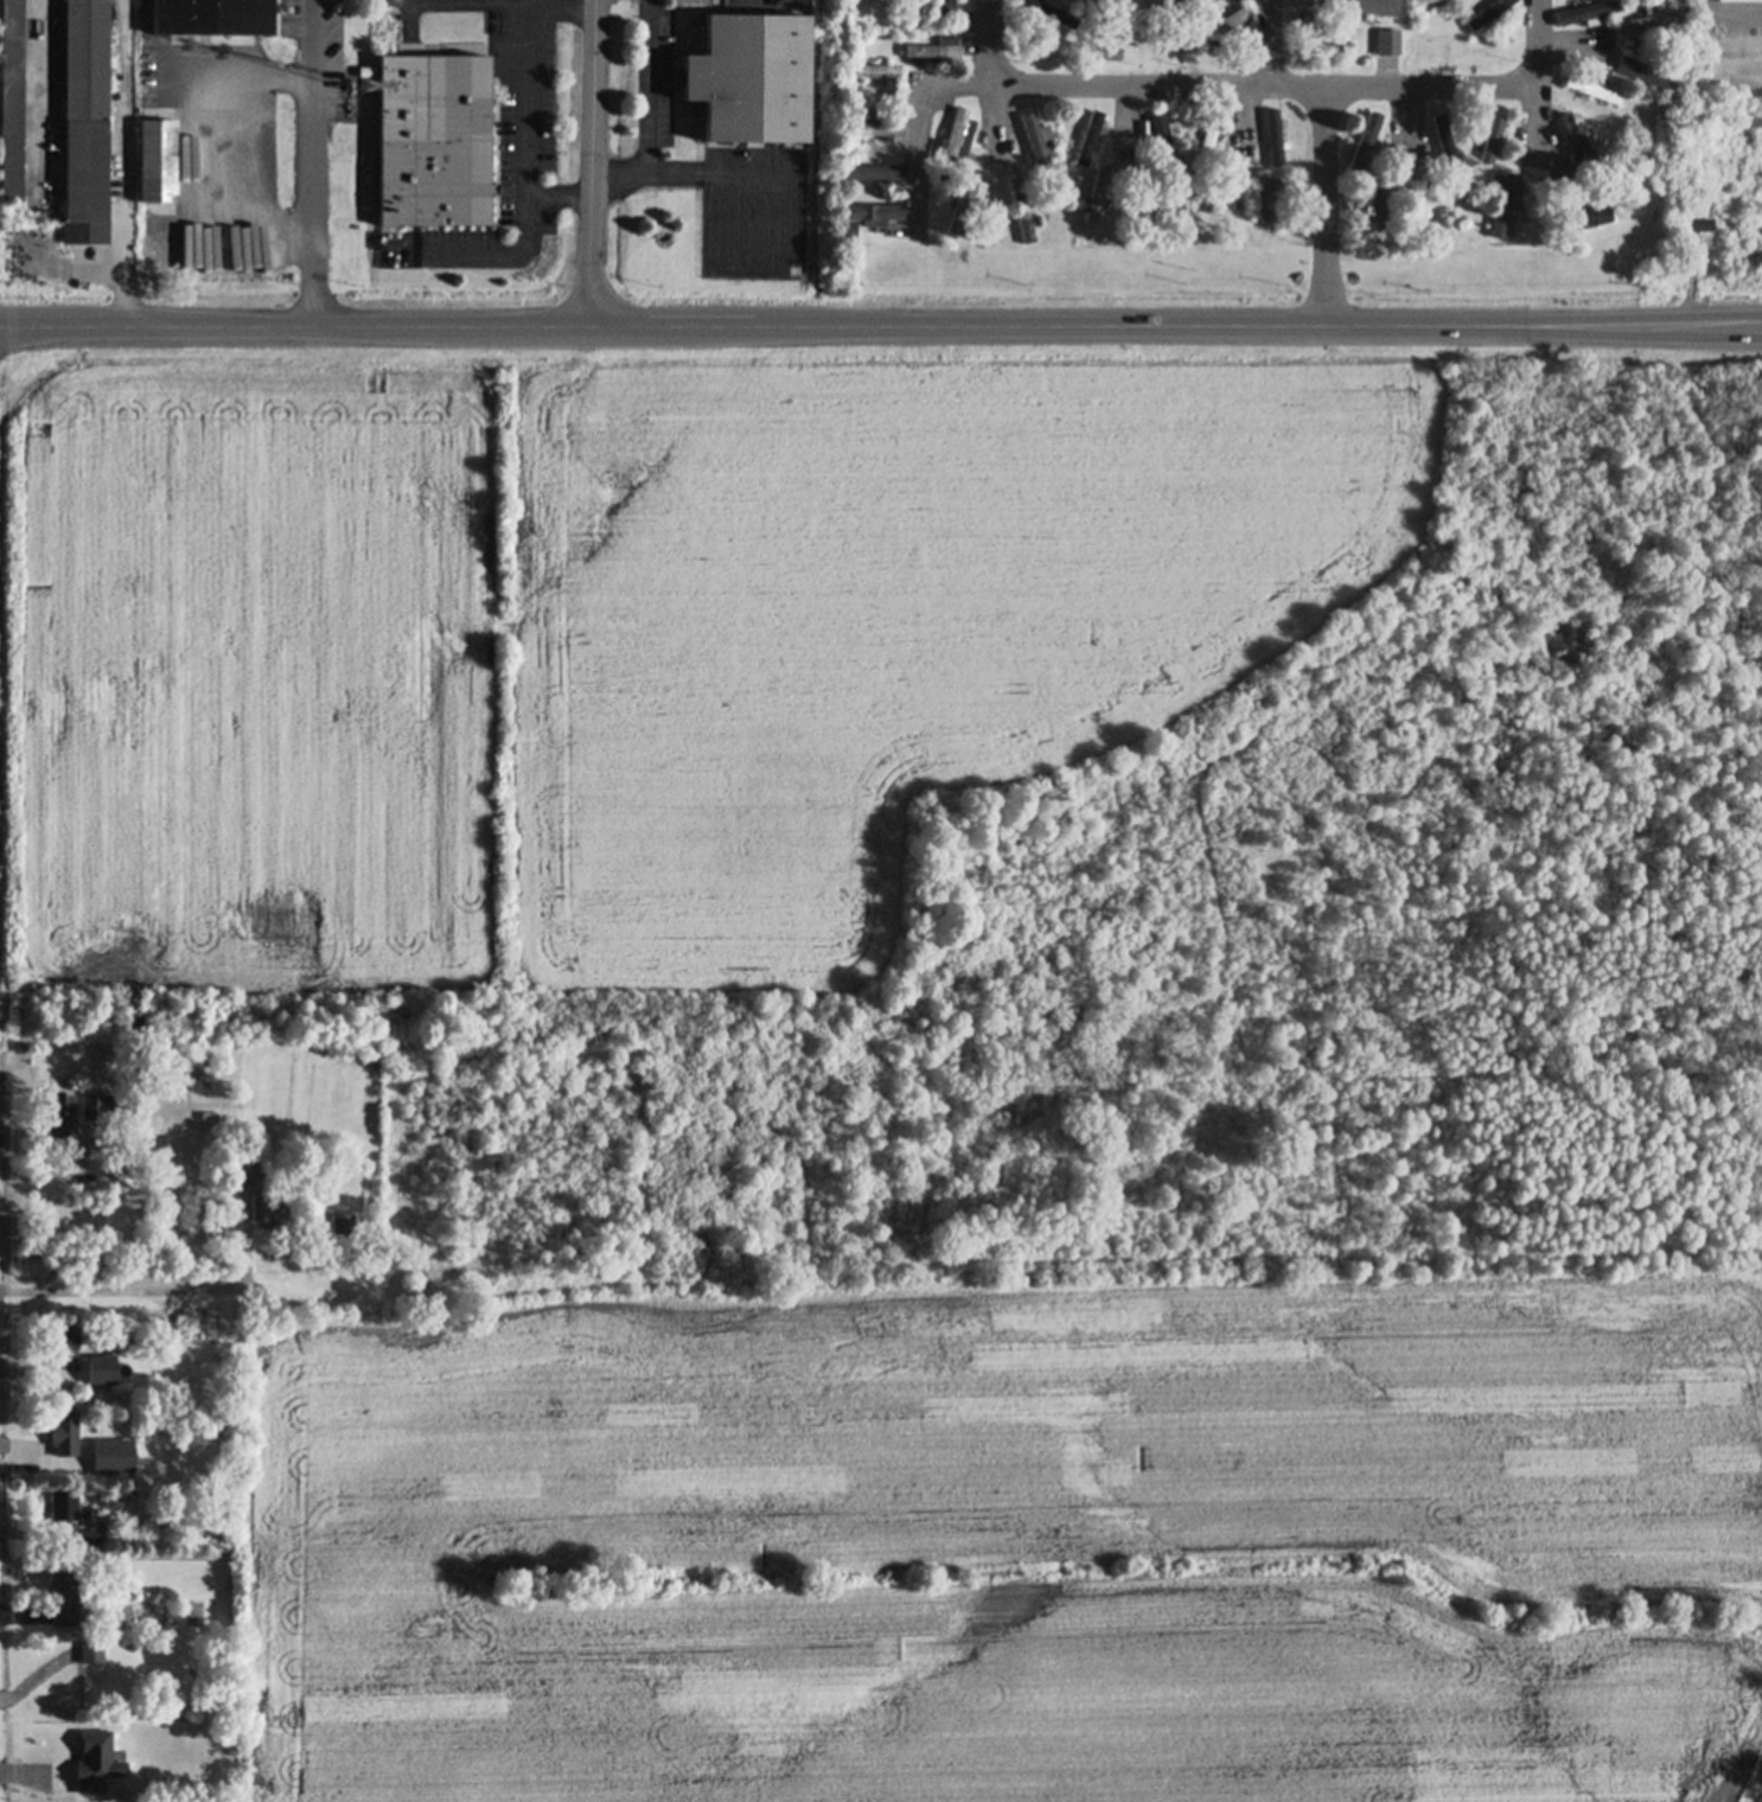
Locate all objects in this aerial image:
building: (1106, 4)
building: (1741, 4)
building: (1430, 5)
building: (1378, 9)
building: (1052, 12)
building: (934, 13)
building: (1175, 14)
building: (213, 15)
building: (1492, 18)
building: (1589, 19)
building: (1652, 21)
building: (1652, 28)
building: (1226, 30)
building: (1320, 37)
building: (1345, 37)
road: (1566, 40)
road: (1266, 45)
building: (1390, 47)
building: (936, 55)
building: (85, 58)
building: (1047, 62)
building: (1653, 64)
building: (1640, 71)
road: (1539, 75)
road: (991, 77)
building: (880, 78)
building: (1640, 81)
road: (1158, 89)
building: (1592, 89)
building: (752, 97)
building: (1592, 97)
building: (894, 101)
road: (529, 102)
building: (11, 103)
road: (653, 107)
road: (128, 115)
road: (1125, 116)
road: (1409, 117)
building: (1662, 121)
building: (873, 135)
building: (959, 139)
building: (1166, 142)
building: (1091, 143)
building: (1276, 143)
building: (438, 146)
building: (1039, 148)
building: (1100, 149)
building: (1367, 149)
building: (1445, 149)
building: (1488, 149)
building: (1572, 149)
building: (1208, 151)
road: (314, 161)
road: (595, 161)
building: (159, 162)
building: (875, 178)
building: (85, 183)
building: (1496, 185)
road: (262, 190)
building: (1562, 190)
building: (1100, 198)
building: (1222, 199)
building: (1268, 199)
building: (1143, 202)
building: (966, 207)
road: (1327, 212)
building: (1160, 213)
building: (1507, 213)
building: (1022, 216)
building: (1381, 217)
building: (1430, 217)
building: (870, 221)
building: (1700, 224)
building: (1584, 225)
building: (1702, 232)
road: (881, 325)
building: (100, 1106)
building: (62, 1114)
building: (245, 1171)
building: (272, 1206)
building: (343, 1221)
building: (64, 1340)
building: (97, 1372)
building: (65, 1433)
building: (97, 1459)
building: (109, 1459)
building: (171, 1488)
building: (68, 1504)
building: (90, 1539)
building: (65, 1596)
building: (92, 1651)
building: (119, 1662)
building: (160, 1672)
building: (100, 1761)

